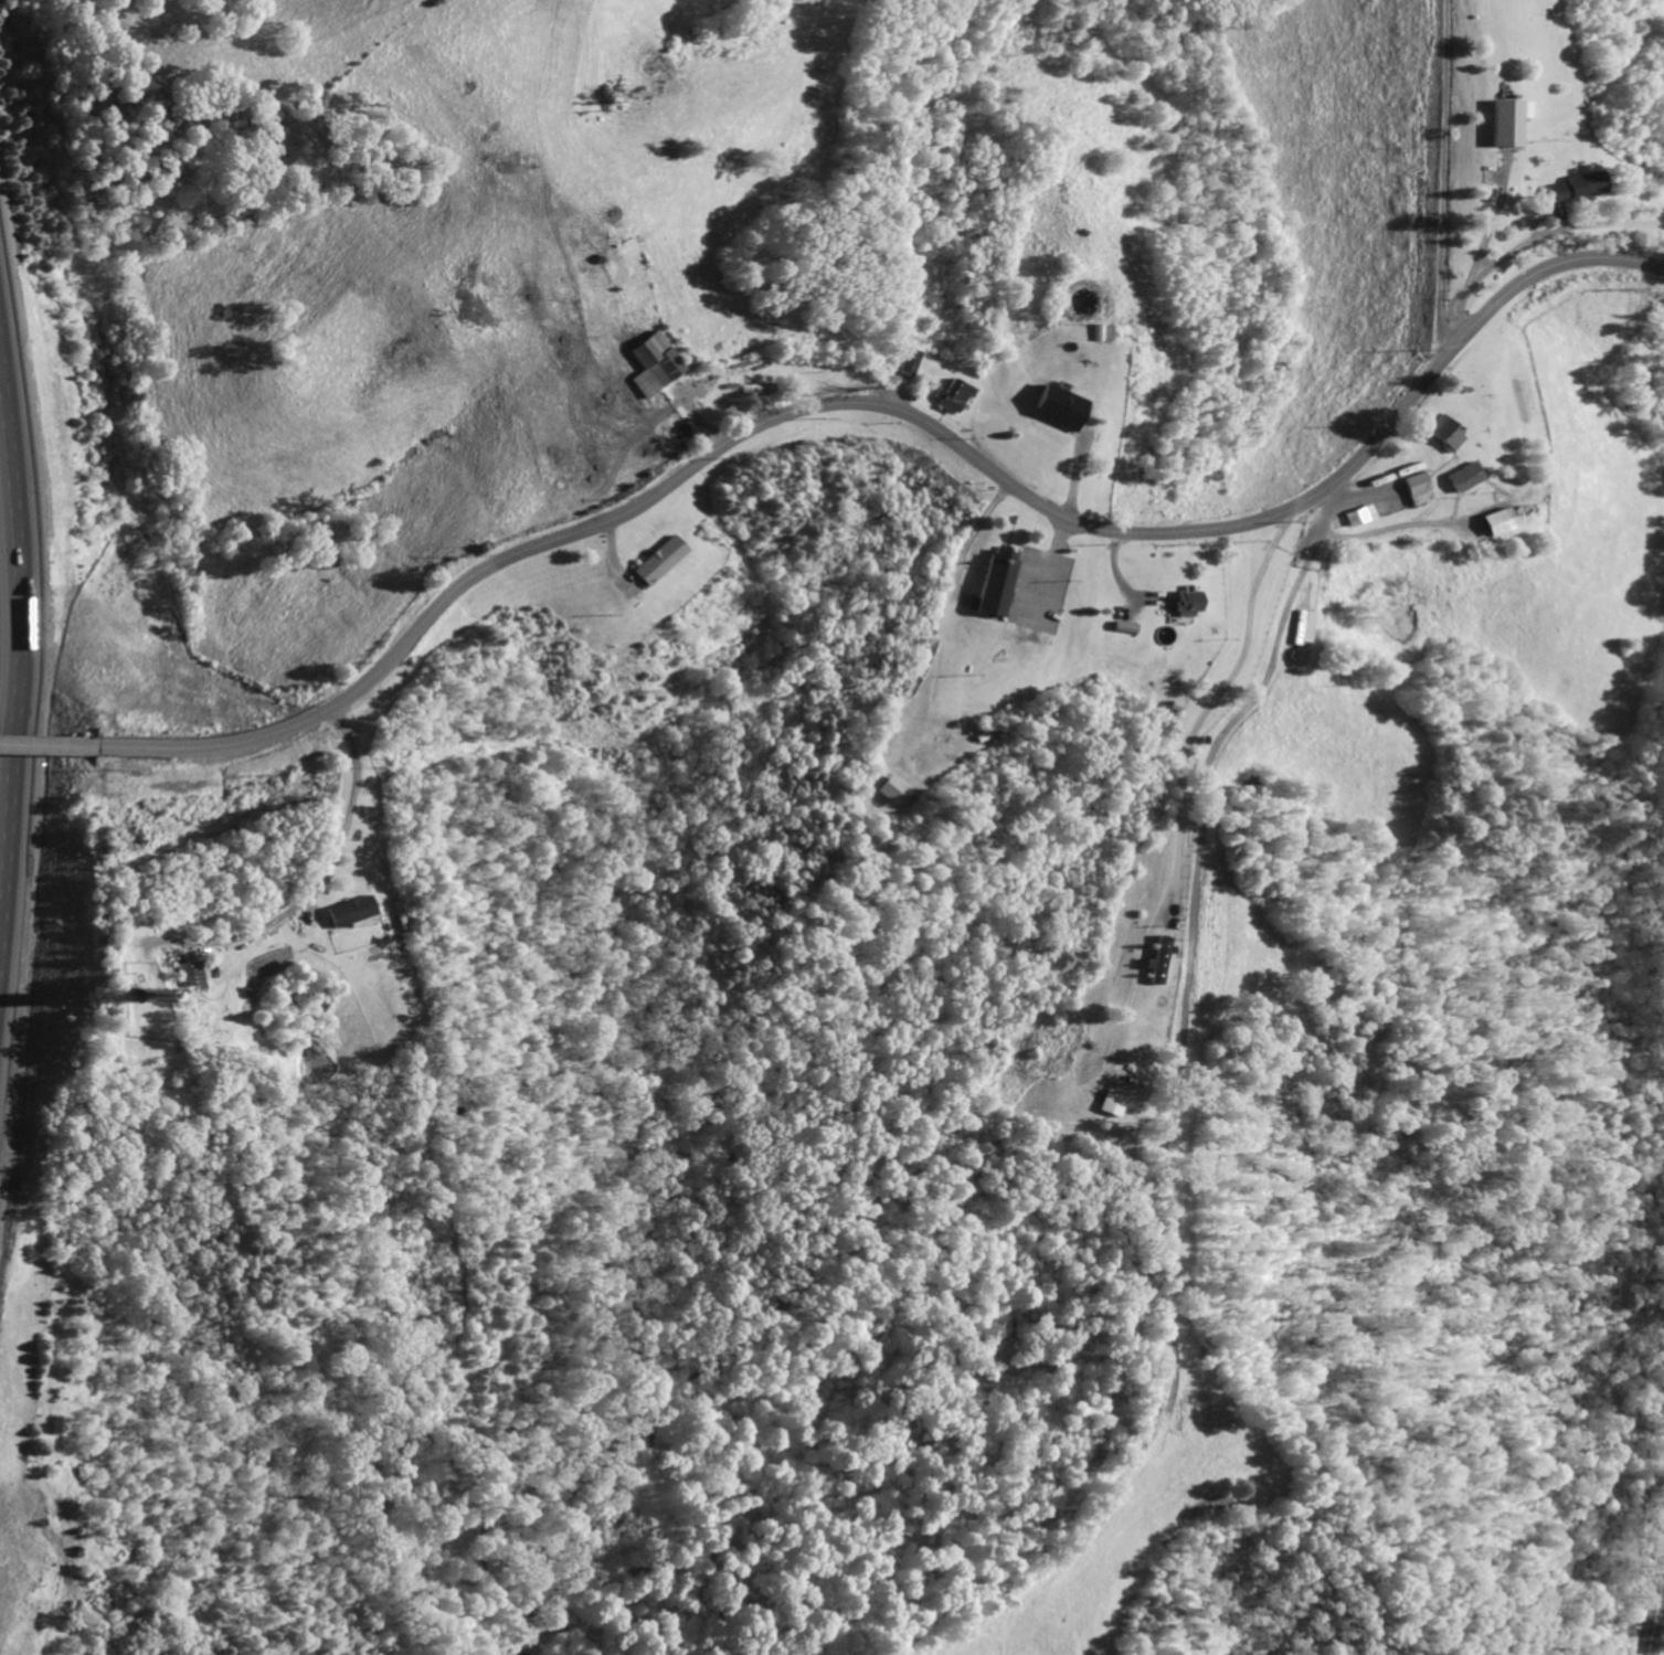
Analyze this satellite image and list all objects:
building: (1506, 121)
road: (1442, 181)
building: (1572, 187)
road: (1488, 265)
building: (1100, 331)
building: (650, 362)
building: (951, 395)
building: (1053, 405)
road: (895, 412)
building: (1441, 432)
building: (1460, 476)
road: (1358, 495)
building: (1493, 521)
building: (654, 559)
building: (997, 581)
road: (30, 698)
road: (1208, 706)
road: (47, 745)
building: (886, 787)
road: (320, 882)
building: (342, 910)
building: (1155, 961)
water tower: (141, 986)
road: (1655, 1613)

